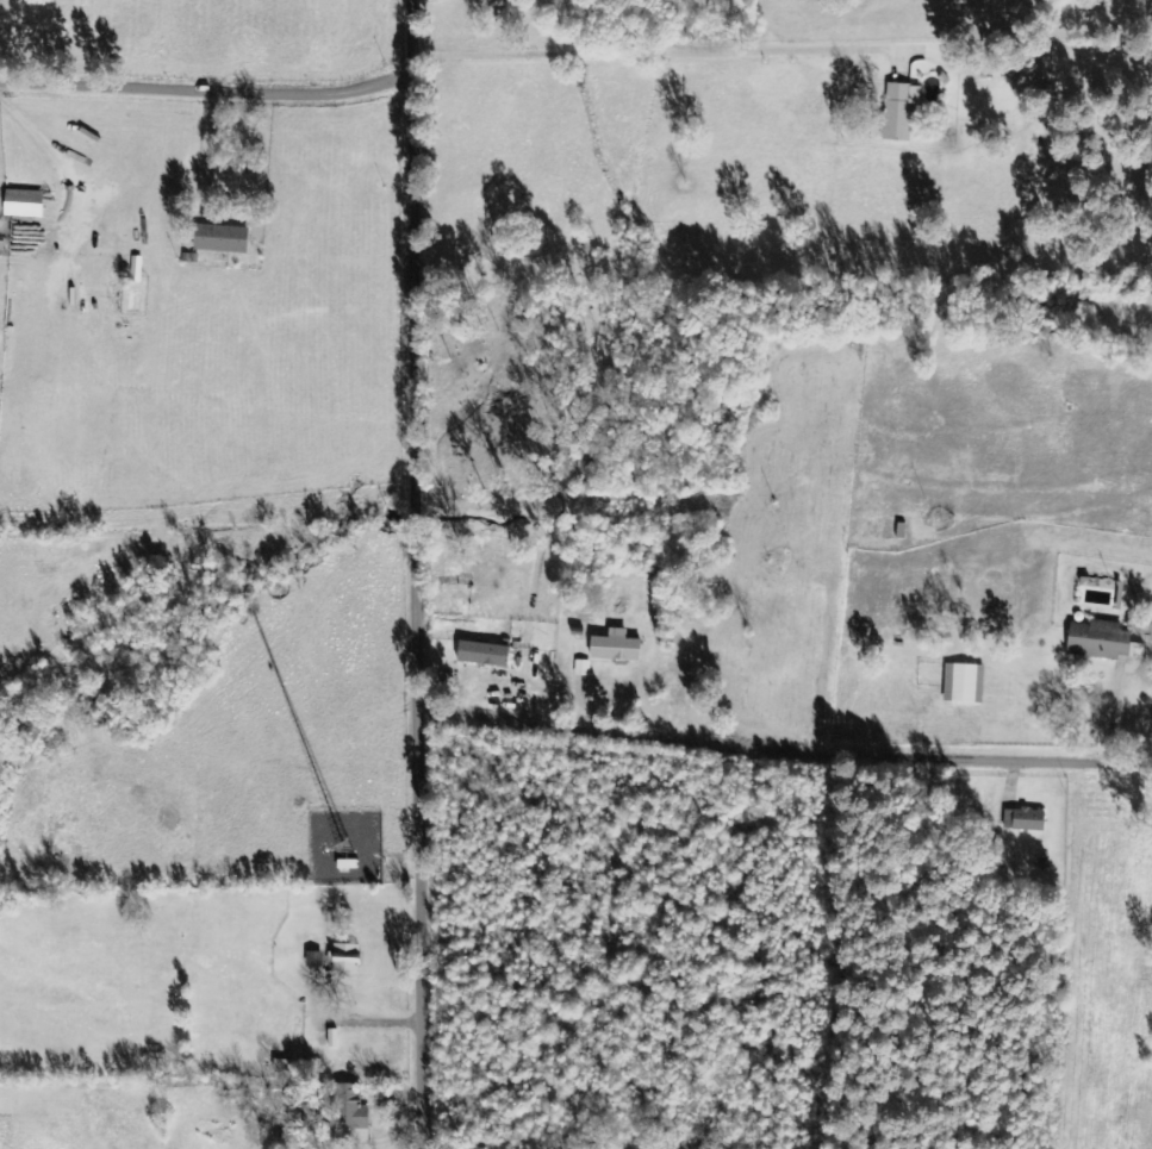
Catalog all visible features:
building: (1030, 81)
road: (212, 93)
building: (901, 112)
building: (24, 204)
building: (222, 239)
road: (429, 574)
building: (1103, 642)
building: (616, 648)
building: (484, 655)
building: (583, 669)
building: (964, 685)
road: (789, 751)
building: (1025, 819)
building: (347, 957)
building: (354, 1113)

